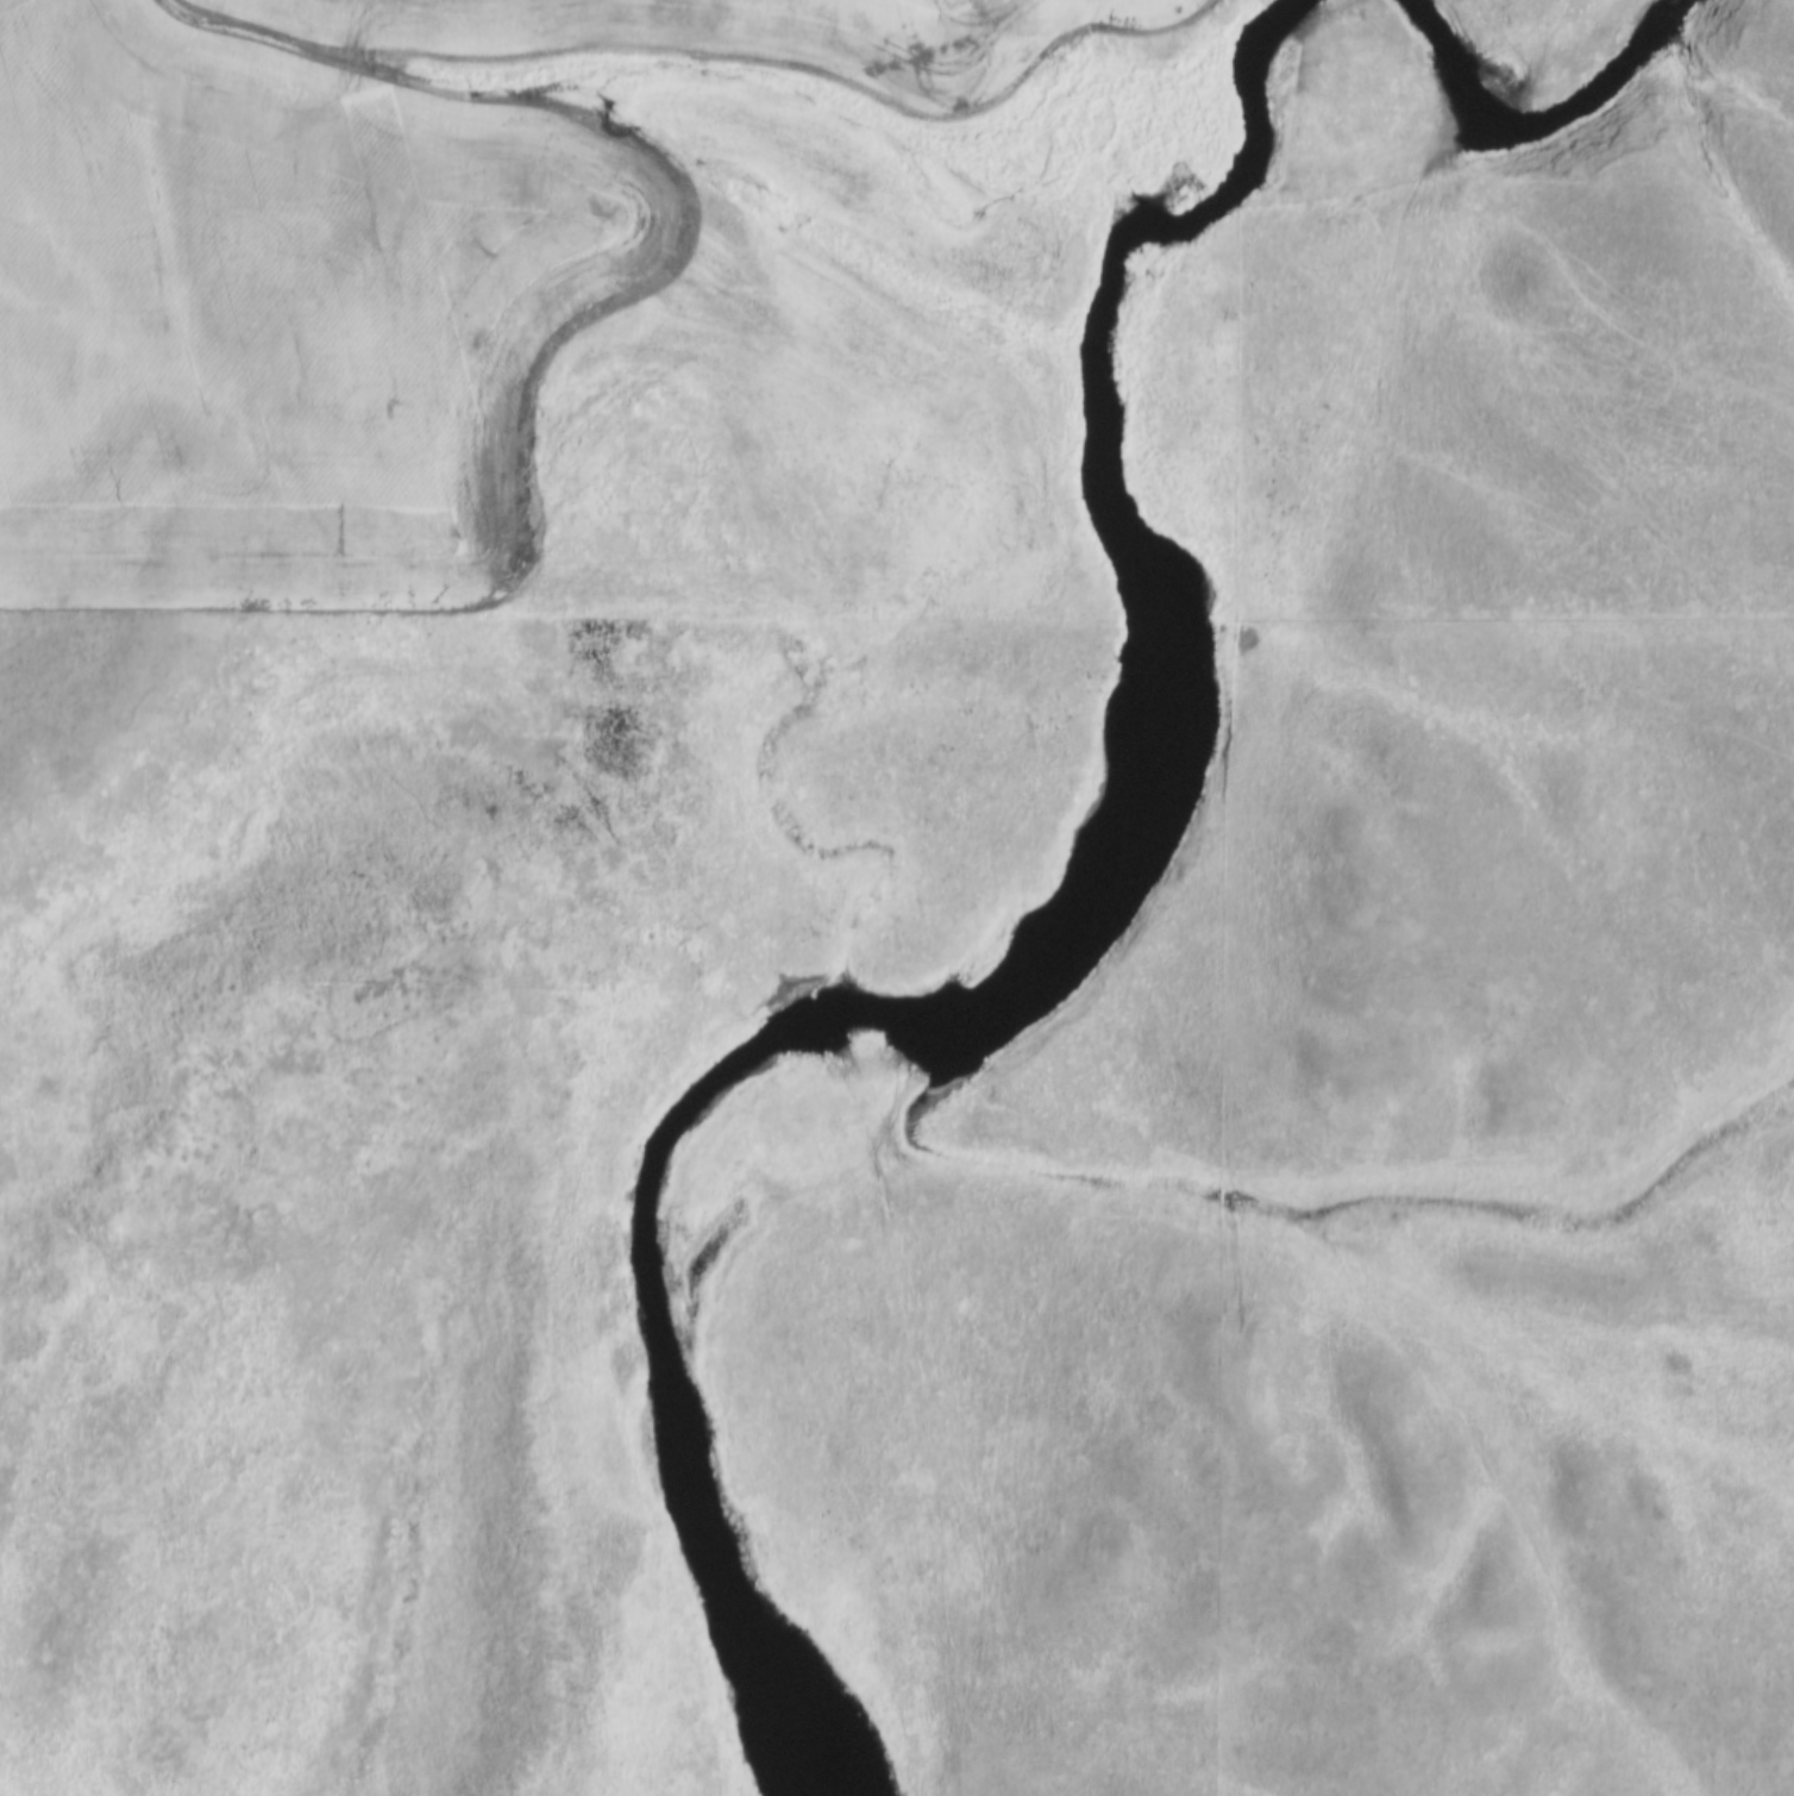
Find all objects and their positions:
river: (1524, 129)
river: (1027, 970)

